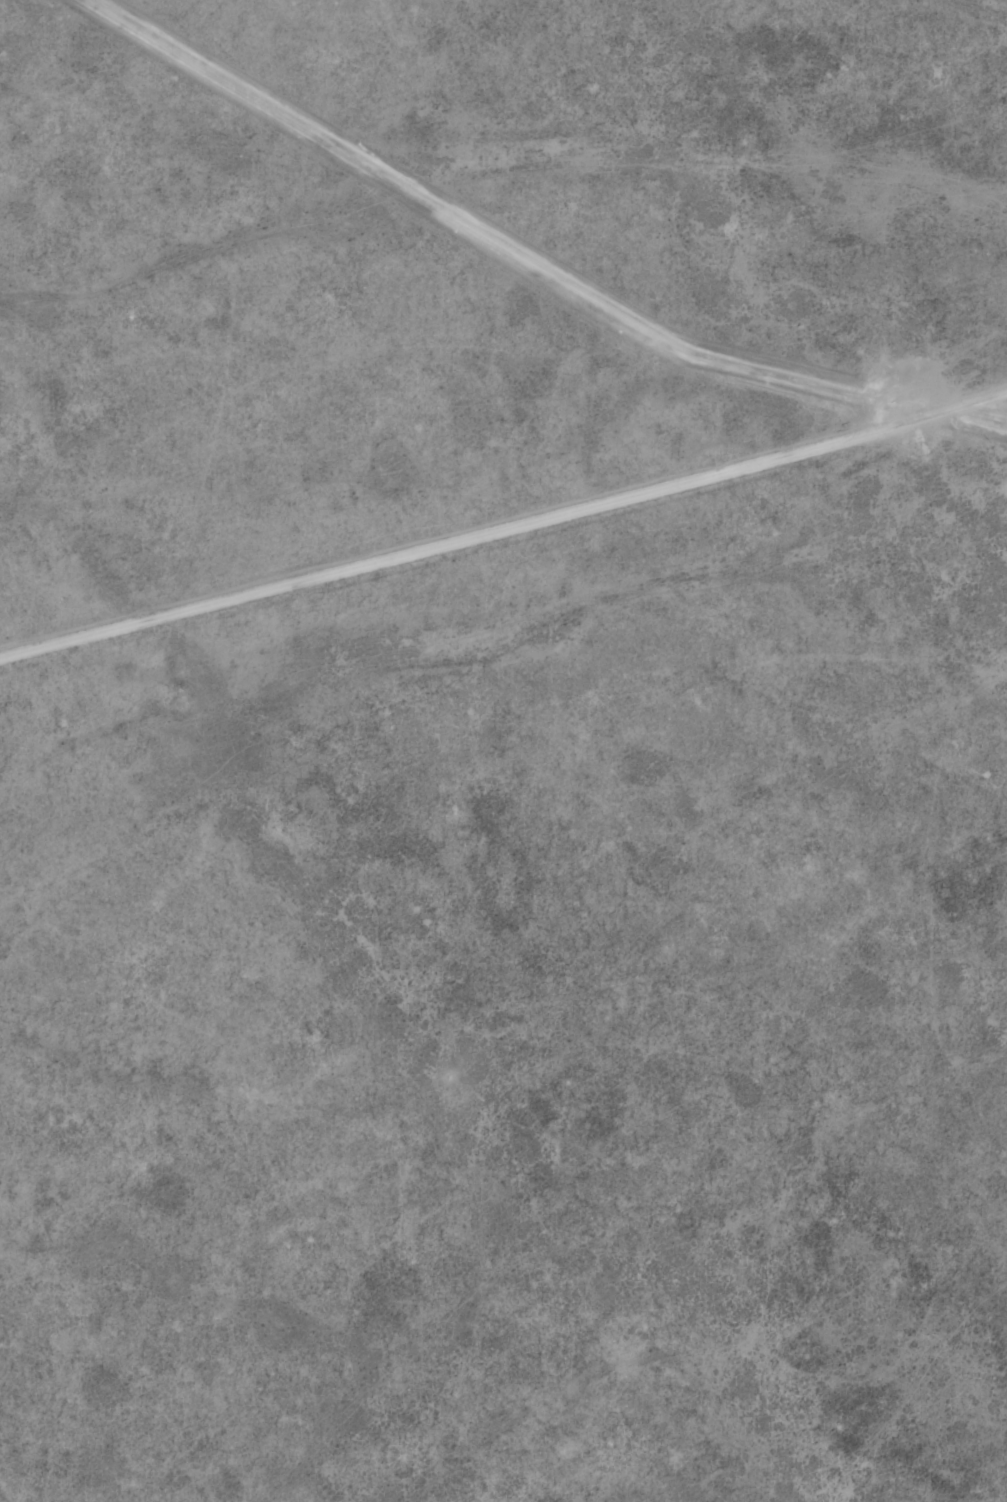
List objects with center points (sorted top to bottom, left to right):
road: (504, 530)

